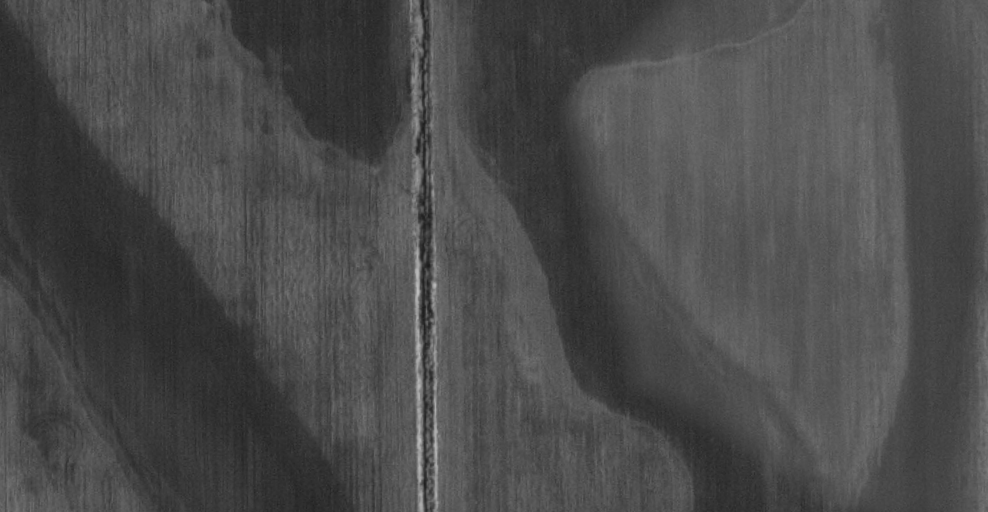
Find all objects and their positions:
crop: (494, 256)

